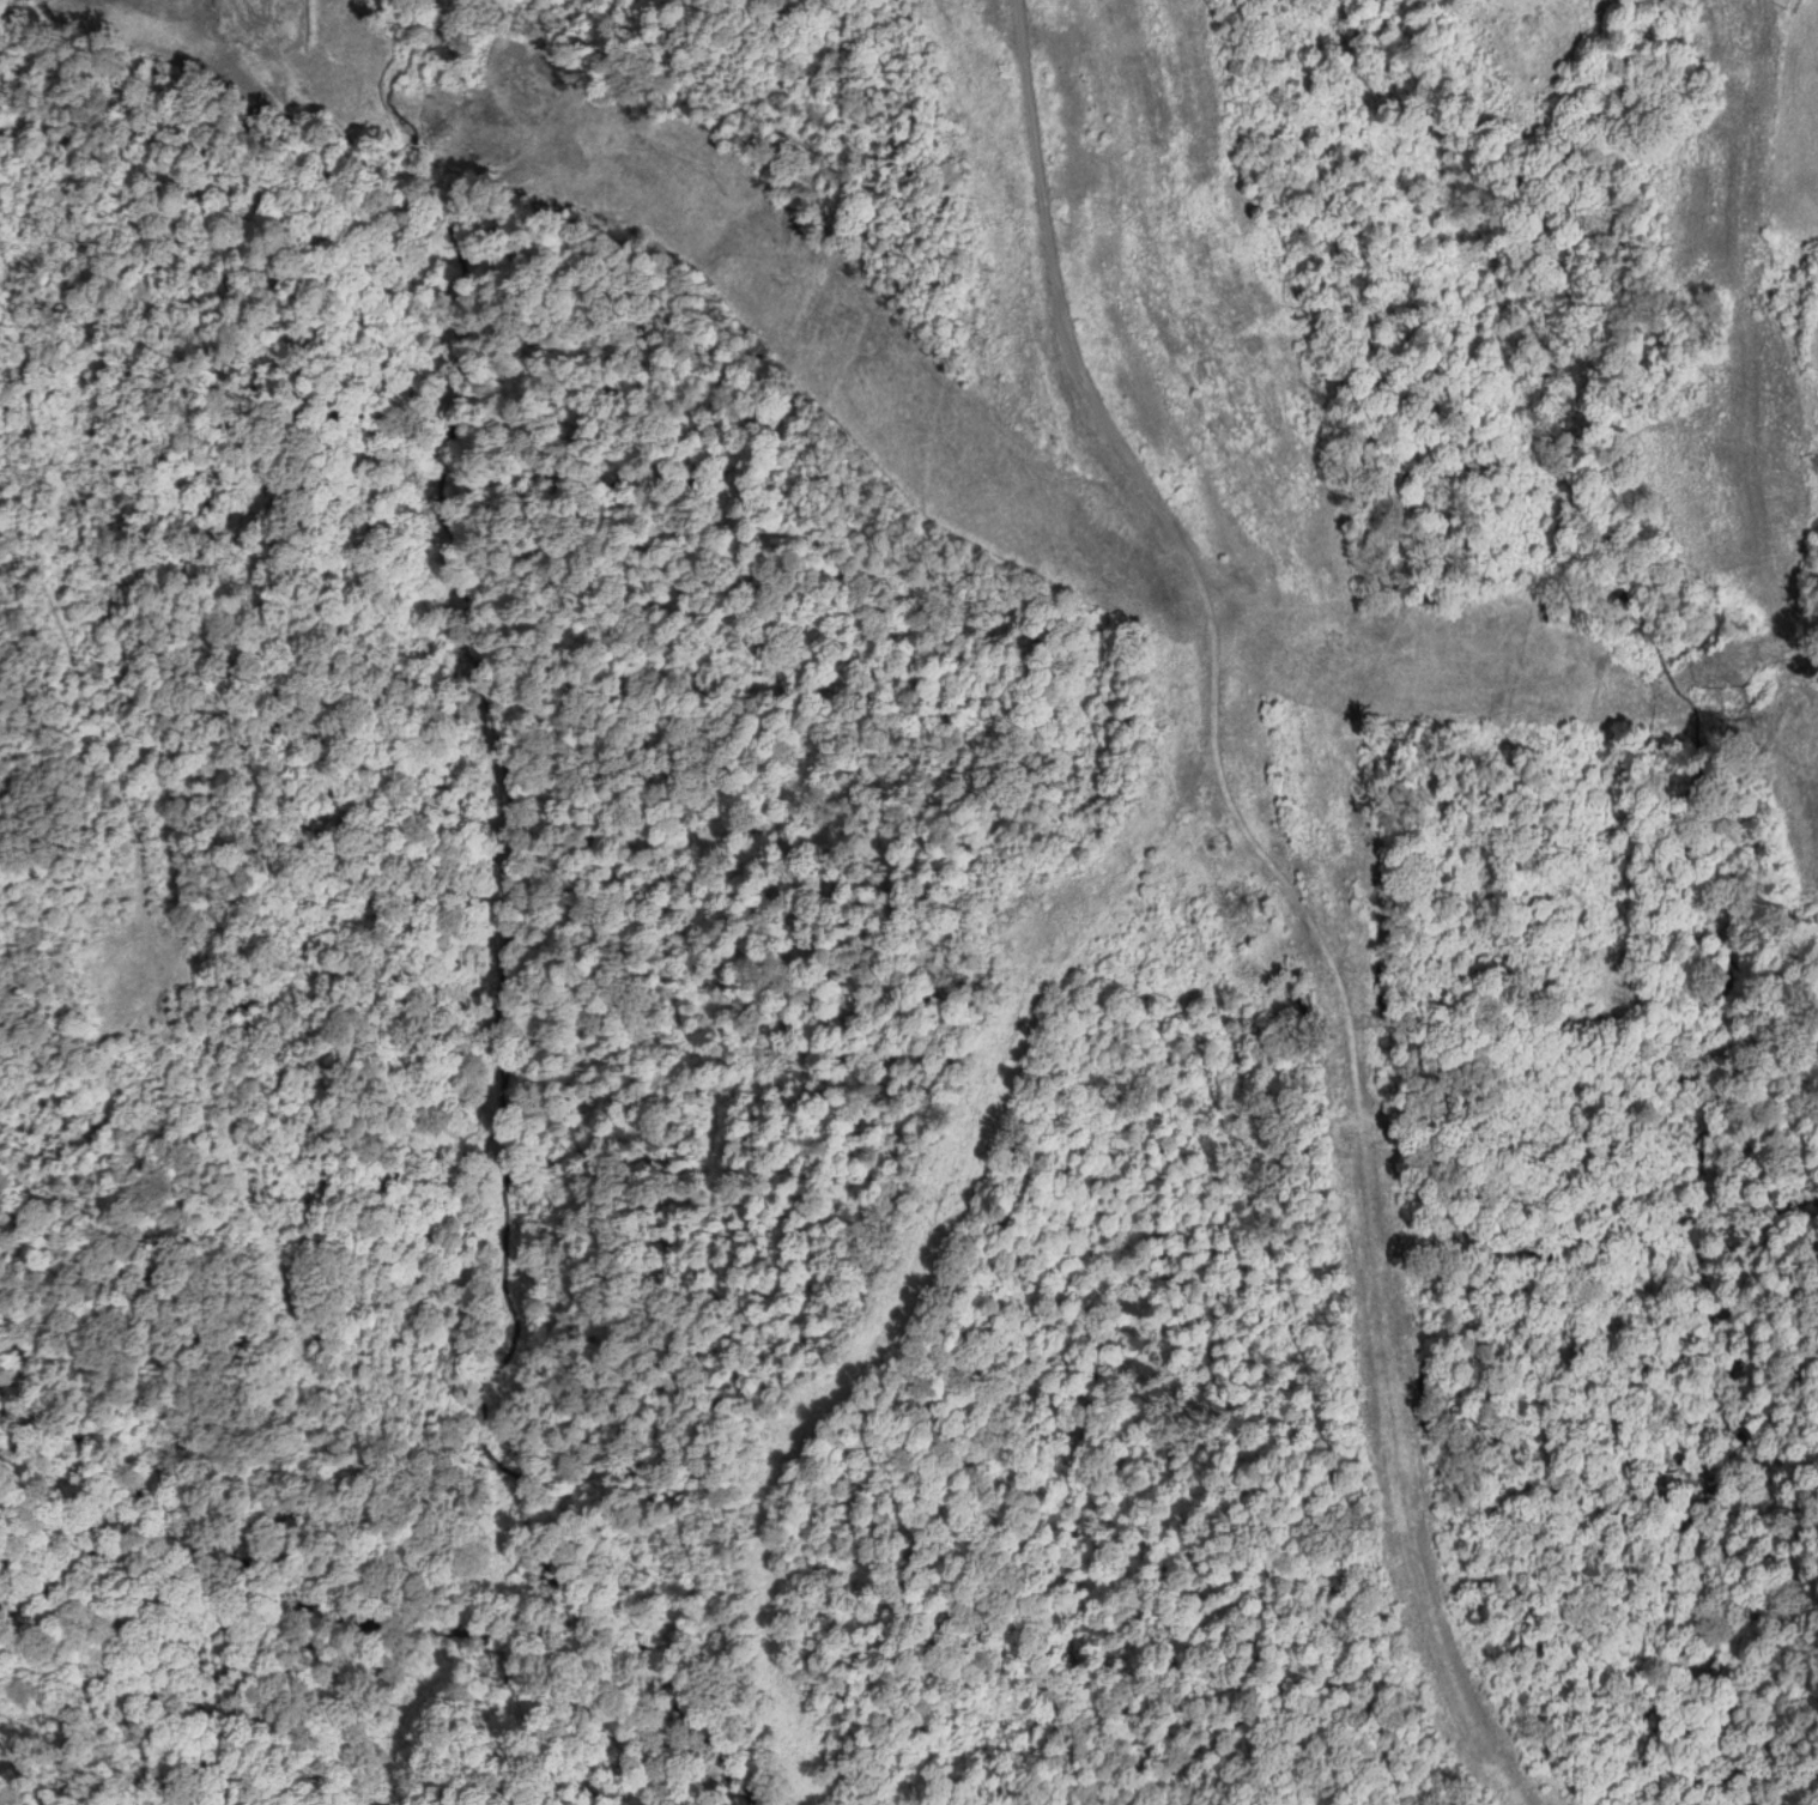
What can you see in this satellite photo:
road: (1189, 544)

